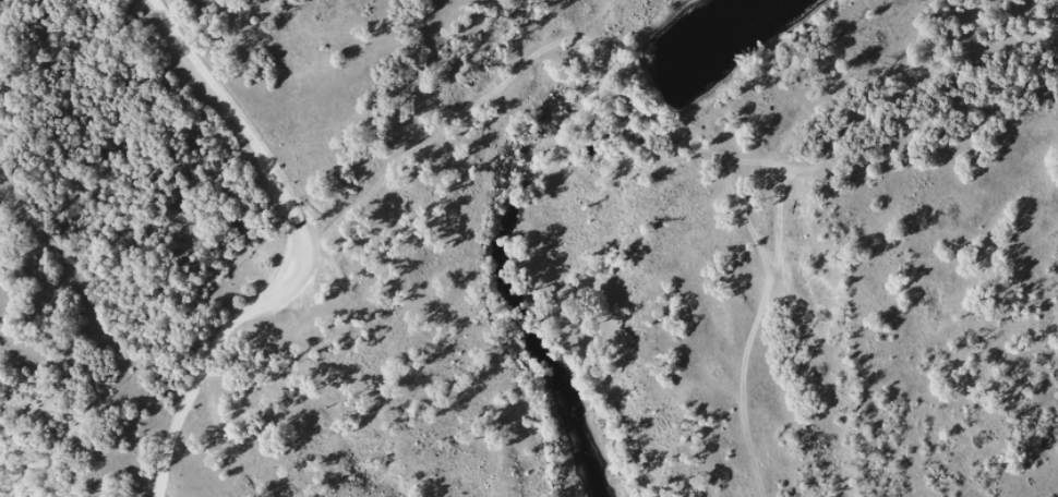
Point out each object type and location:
road: (302, 247)

